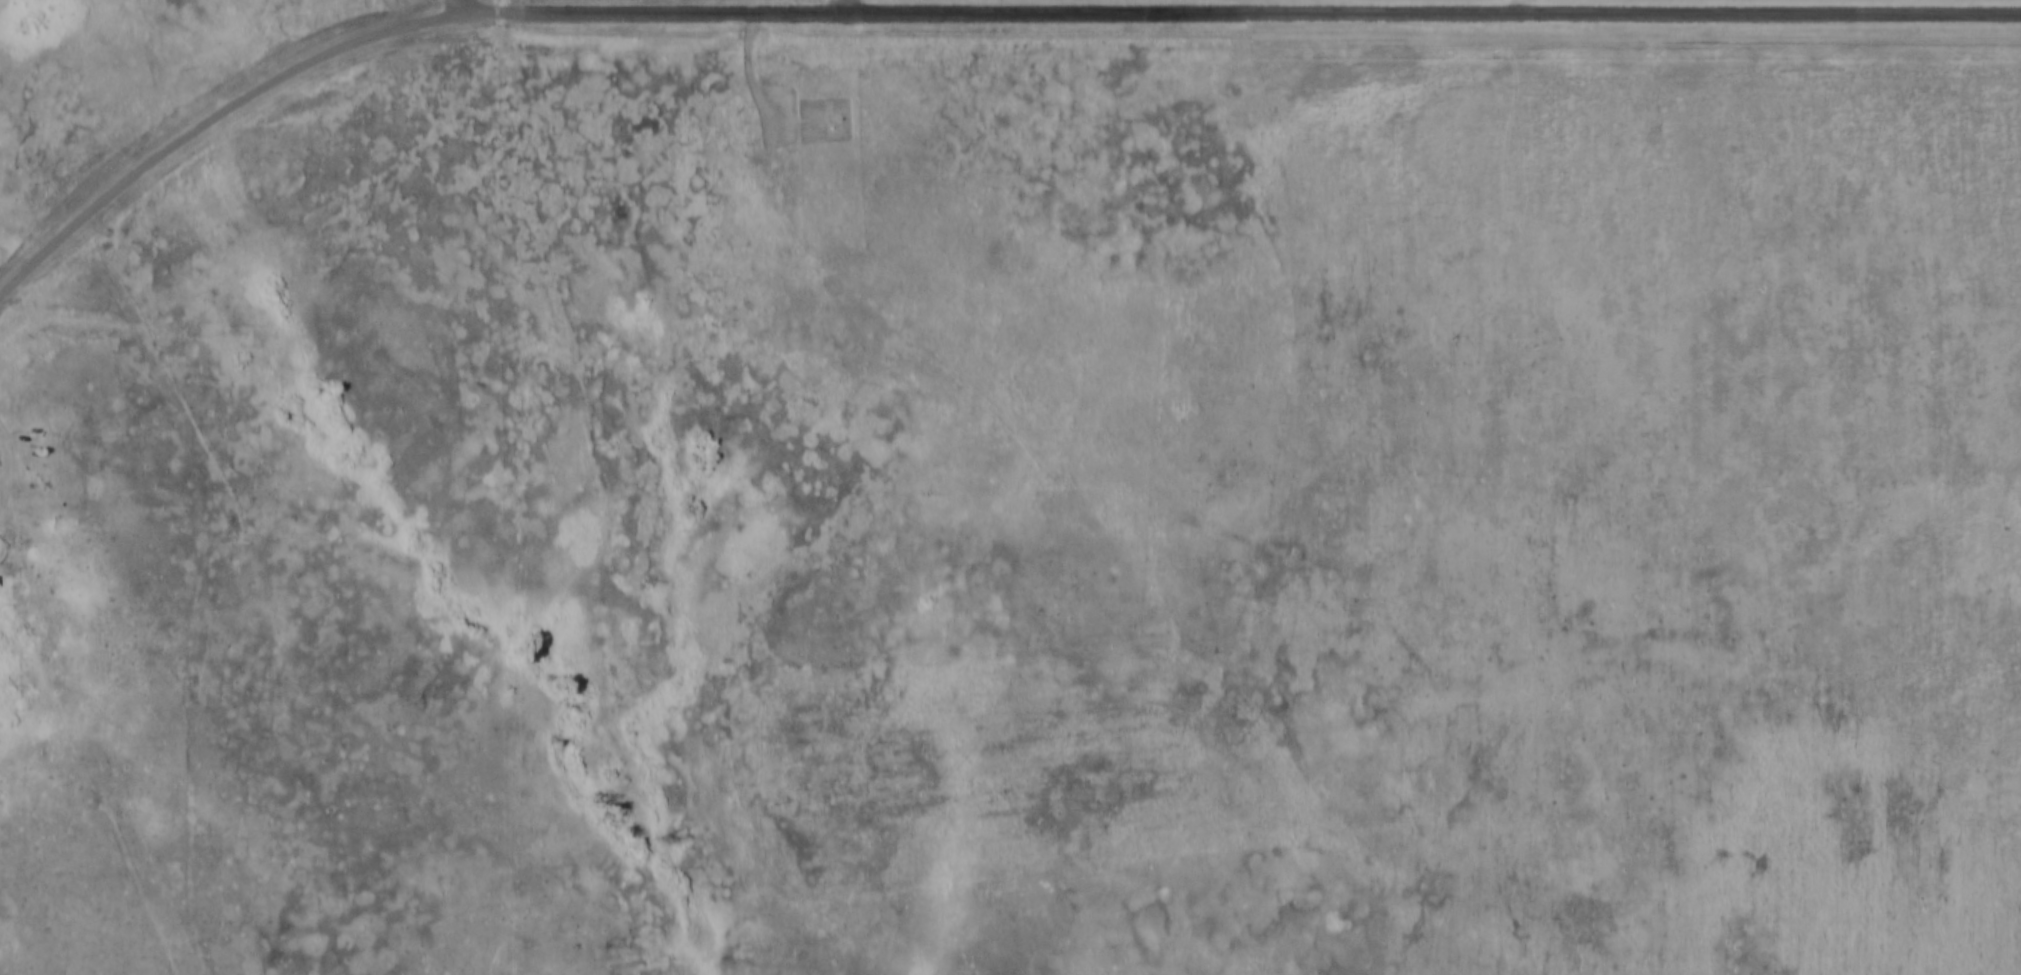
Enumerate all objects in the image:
road: (846, 6)
road: (460, 7)
road: (1257, 13)
road: (224, 106)

